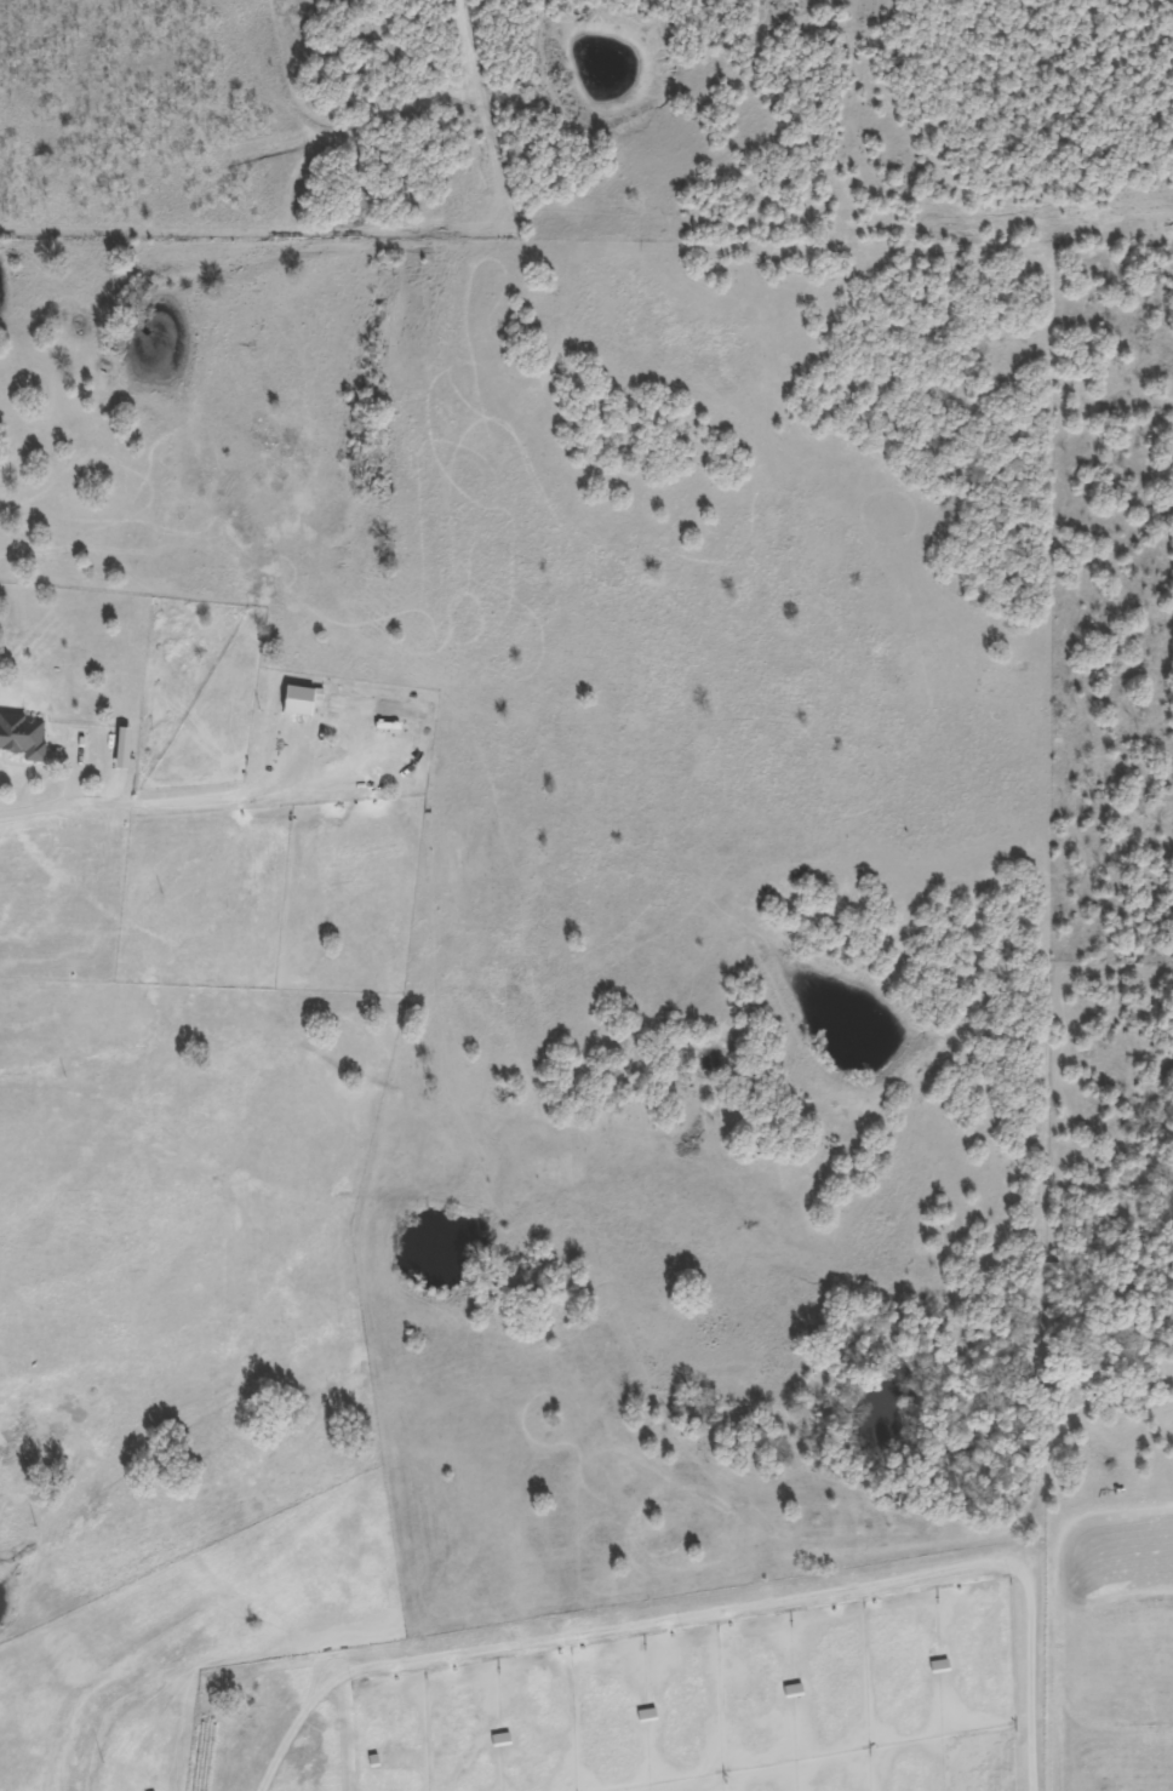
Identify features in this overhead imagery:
building: (21, 737)
road: (166, 801)

